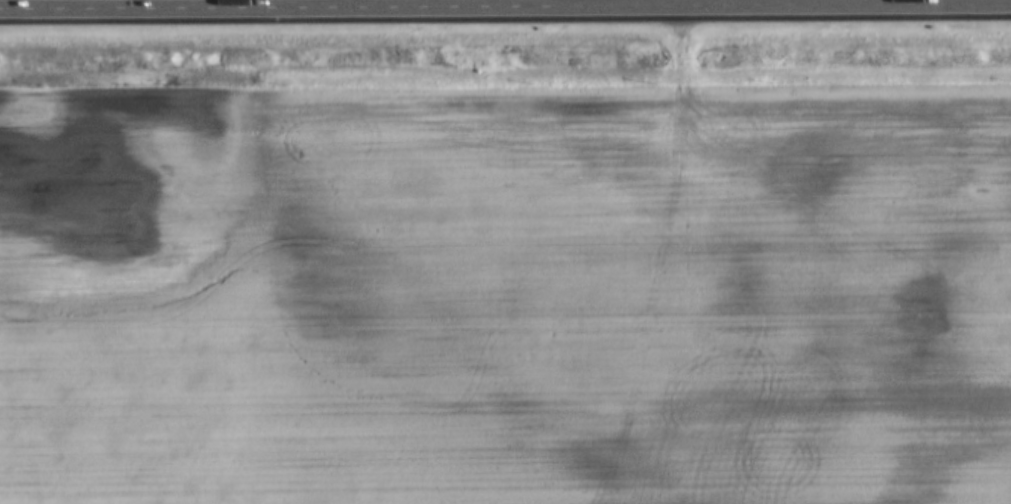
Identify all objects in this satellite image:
road: (260, 1)

